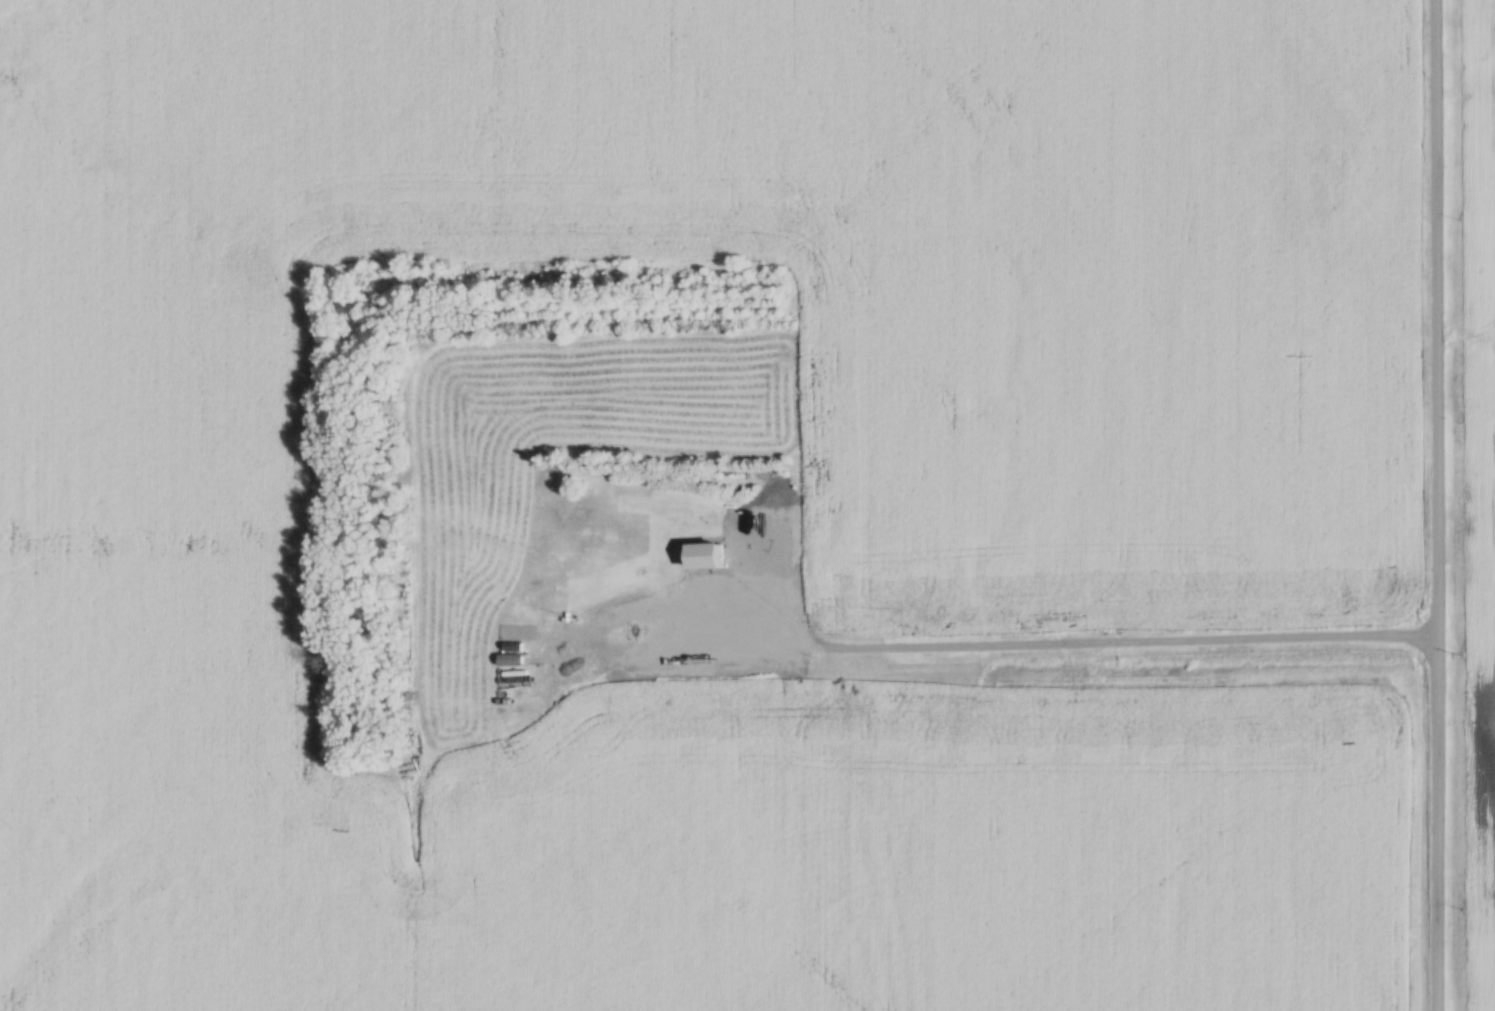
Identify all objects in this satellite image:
road: (1439, 505)

